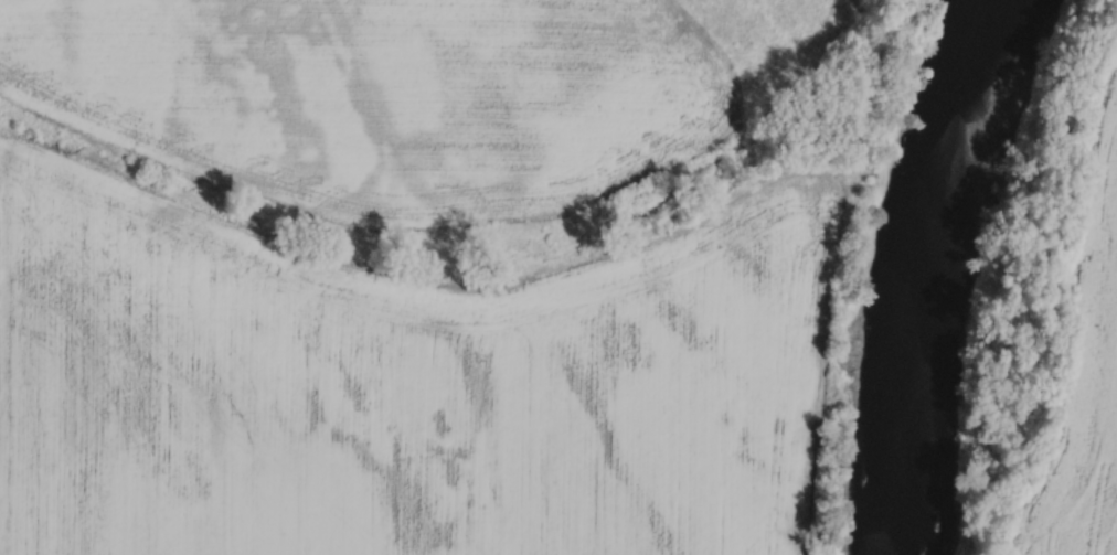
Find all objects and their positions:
river: (926, 271)

